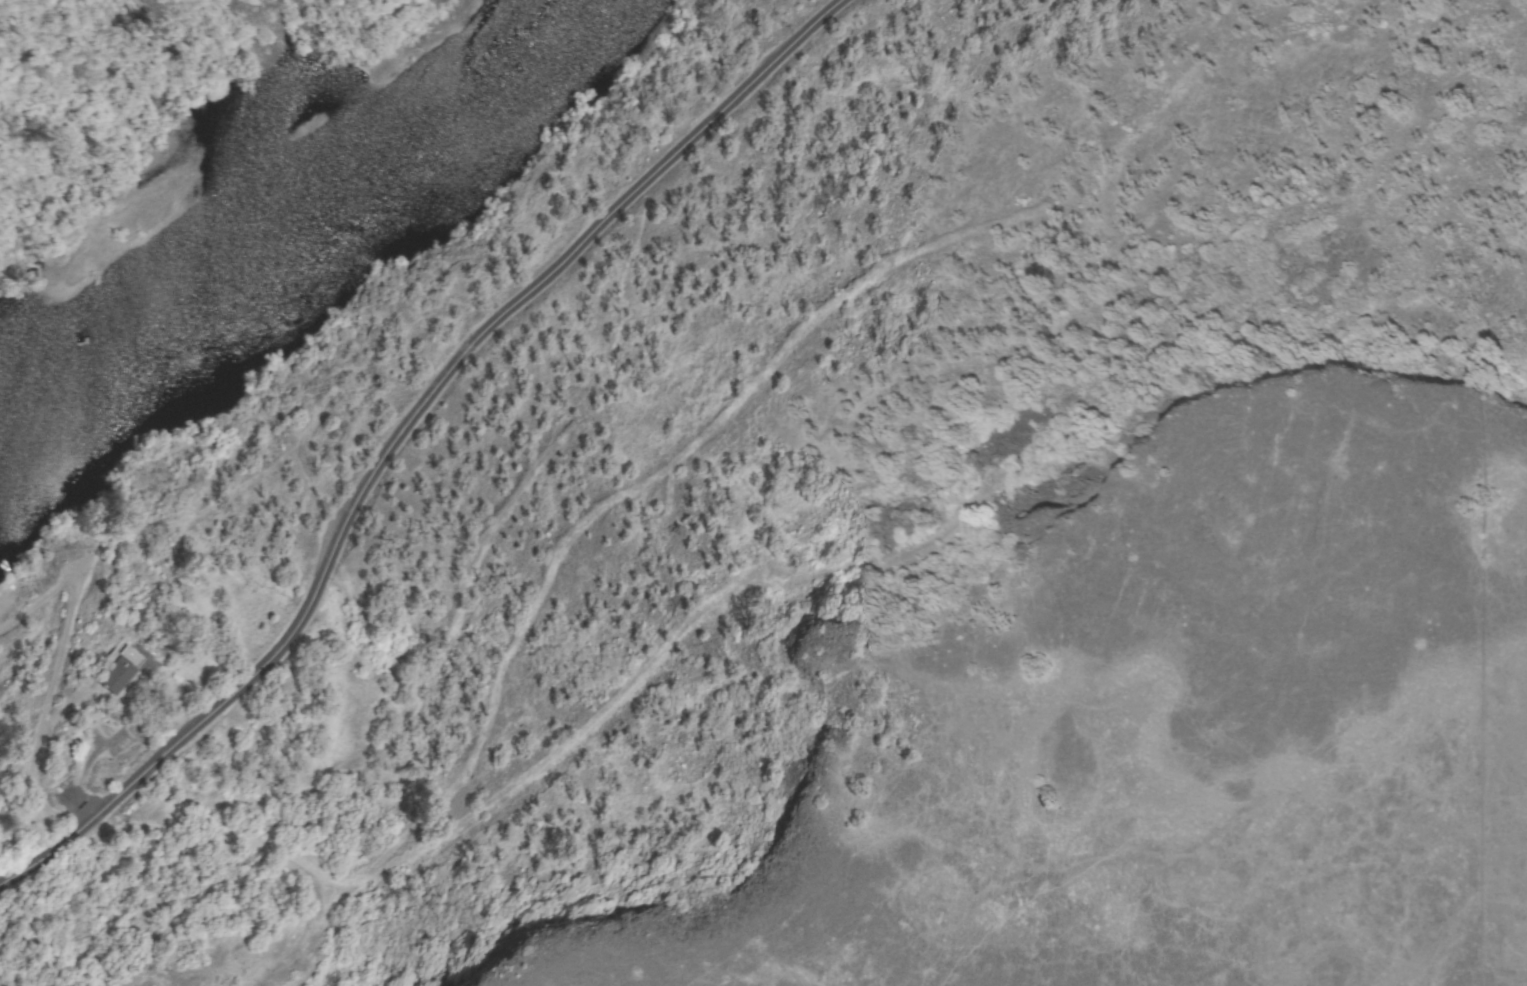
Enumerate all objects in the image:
road: (410, 429)
building: (117, 669)

